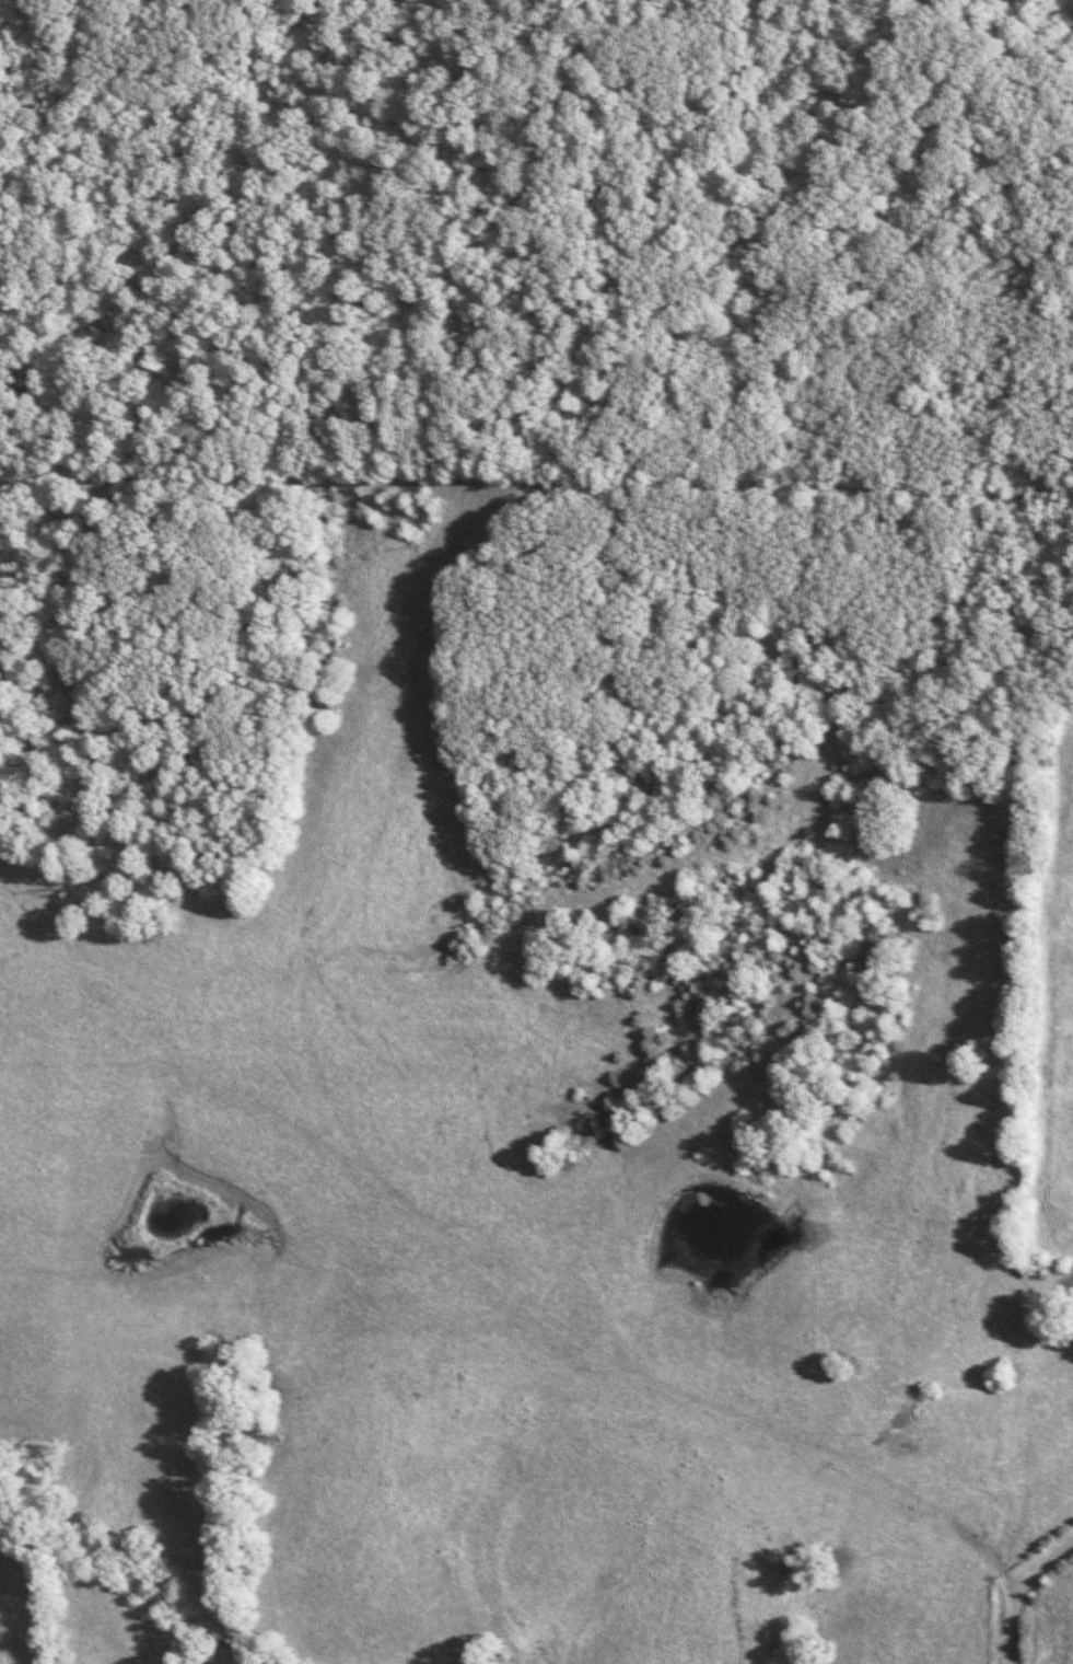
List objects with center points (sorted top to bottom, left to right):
road: (1029, 1590)
road: (1013, 1633)

